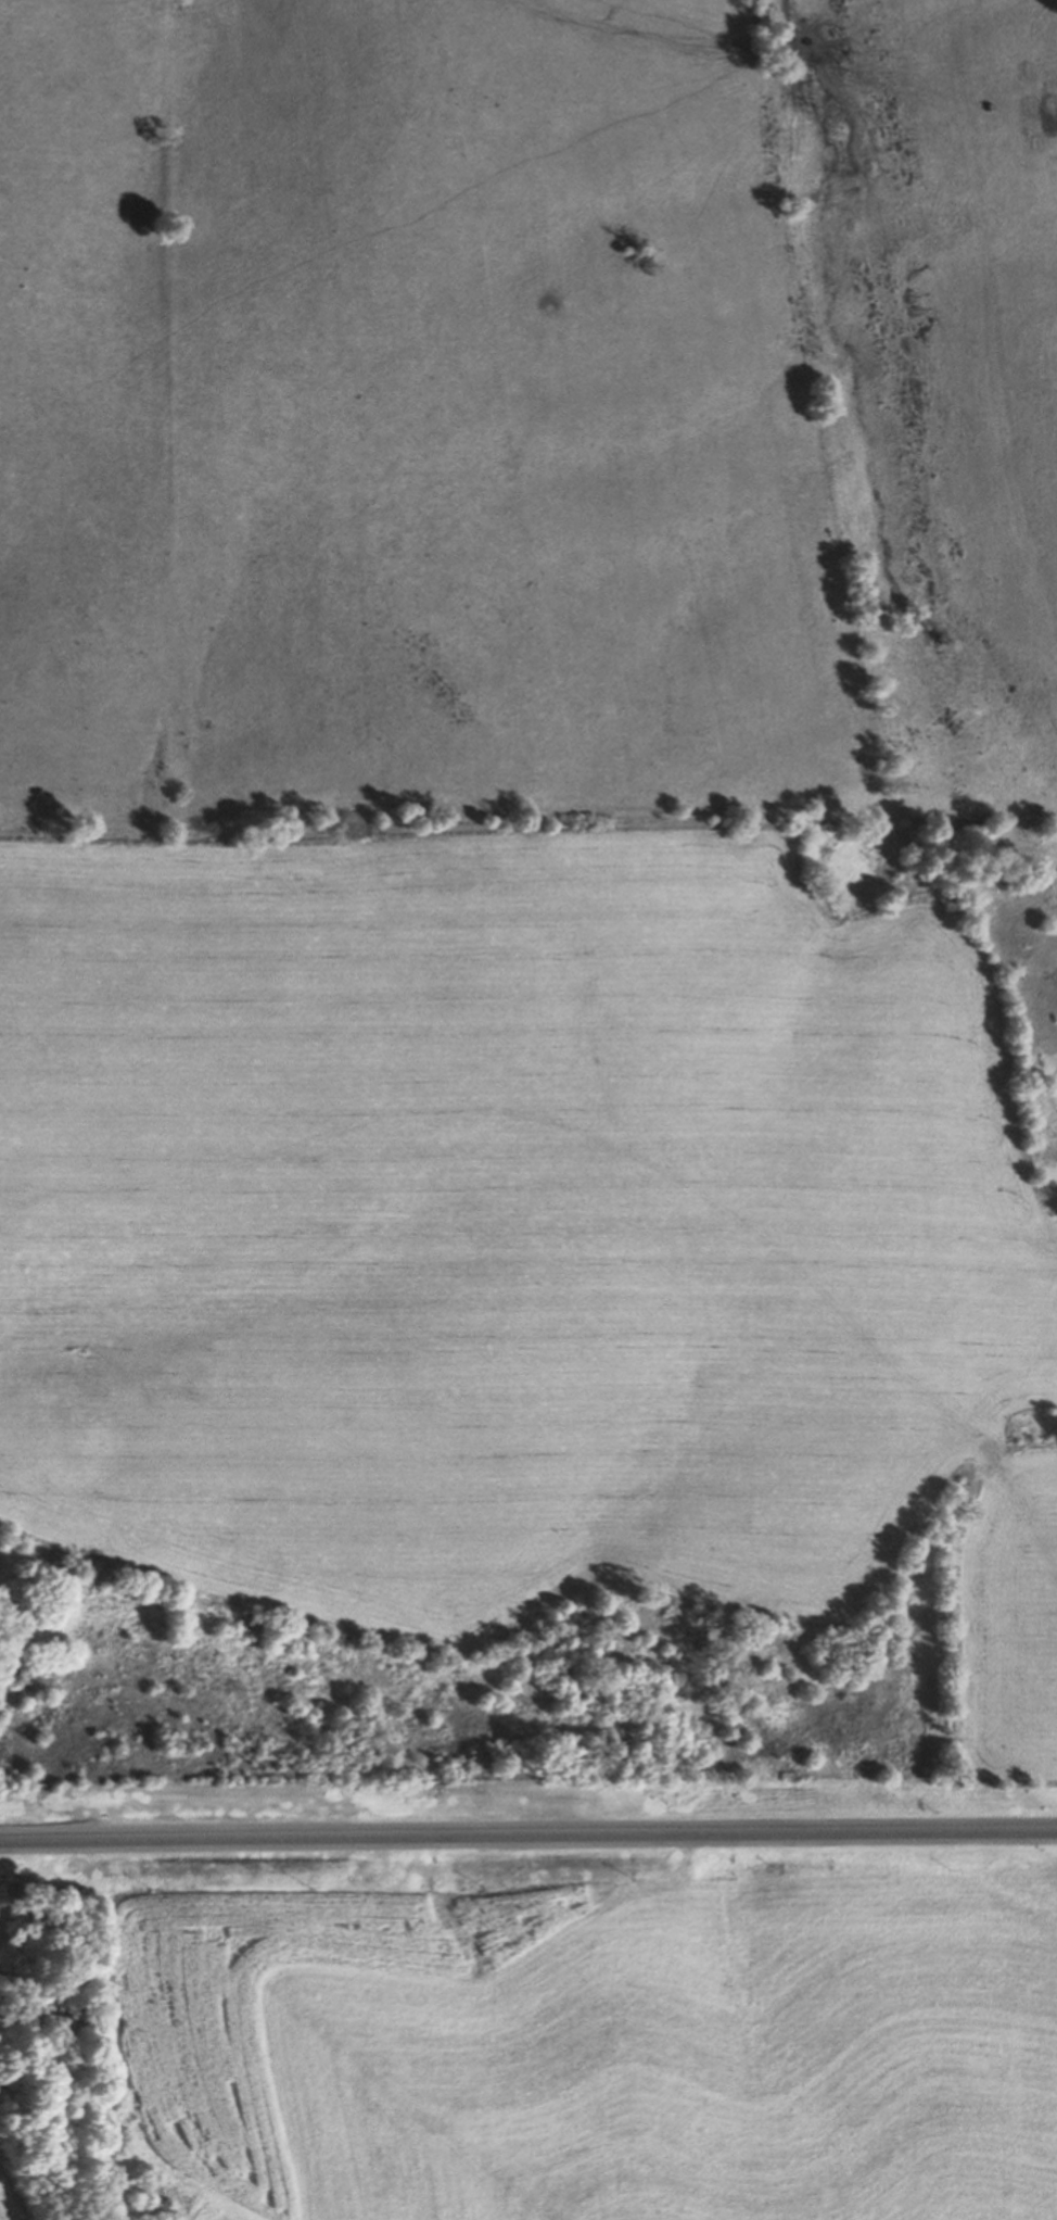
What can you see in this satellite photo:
quarry: (18, 1708)
road: (527, 1832)

